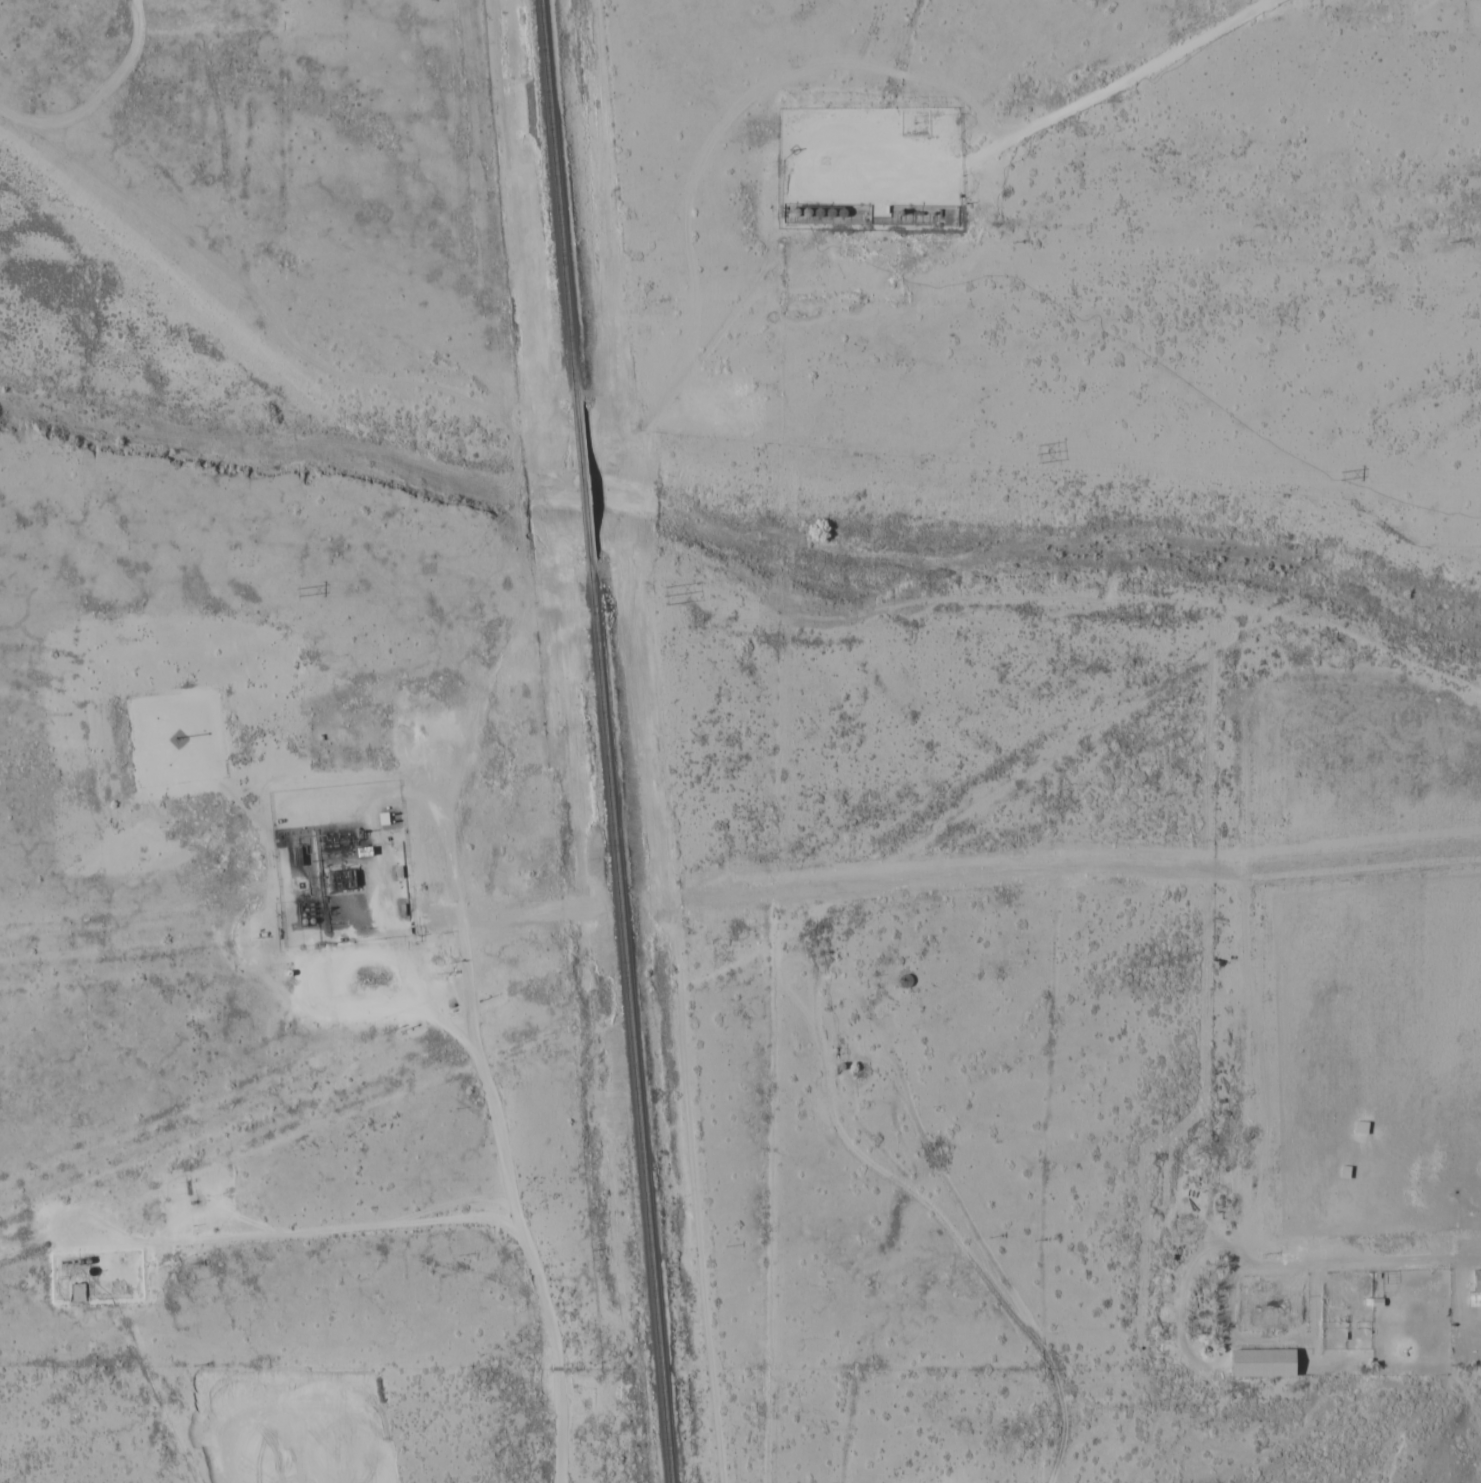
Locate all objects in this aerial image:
road: (235, 30)
road: (993, 148)
road: (840, 191)
railway: (553, 202)
power tower: (1038, 453)
power tower: (1338, 475)
railway: (579, 493)
power tower: (295, 591)
road: (1042, 595)
power tower: (659, 596)
road: (421, 969)
railway: (628, 1032)
road: (511, 1181)
road: (289, 1230)
building: (1267, 1363)

